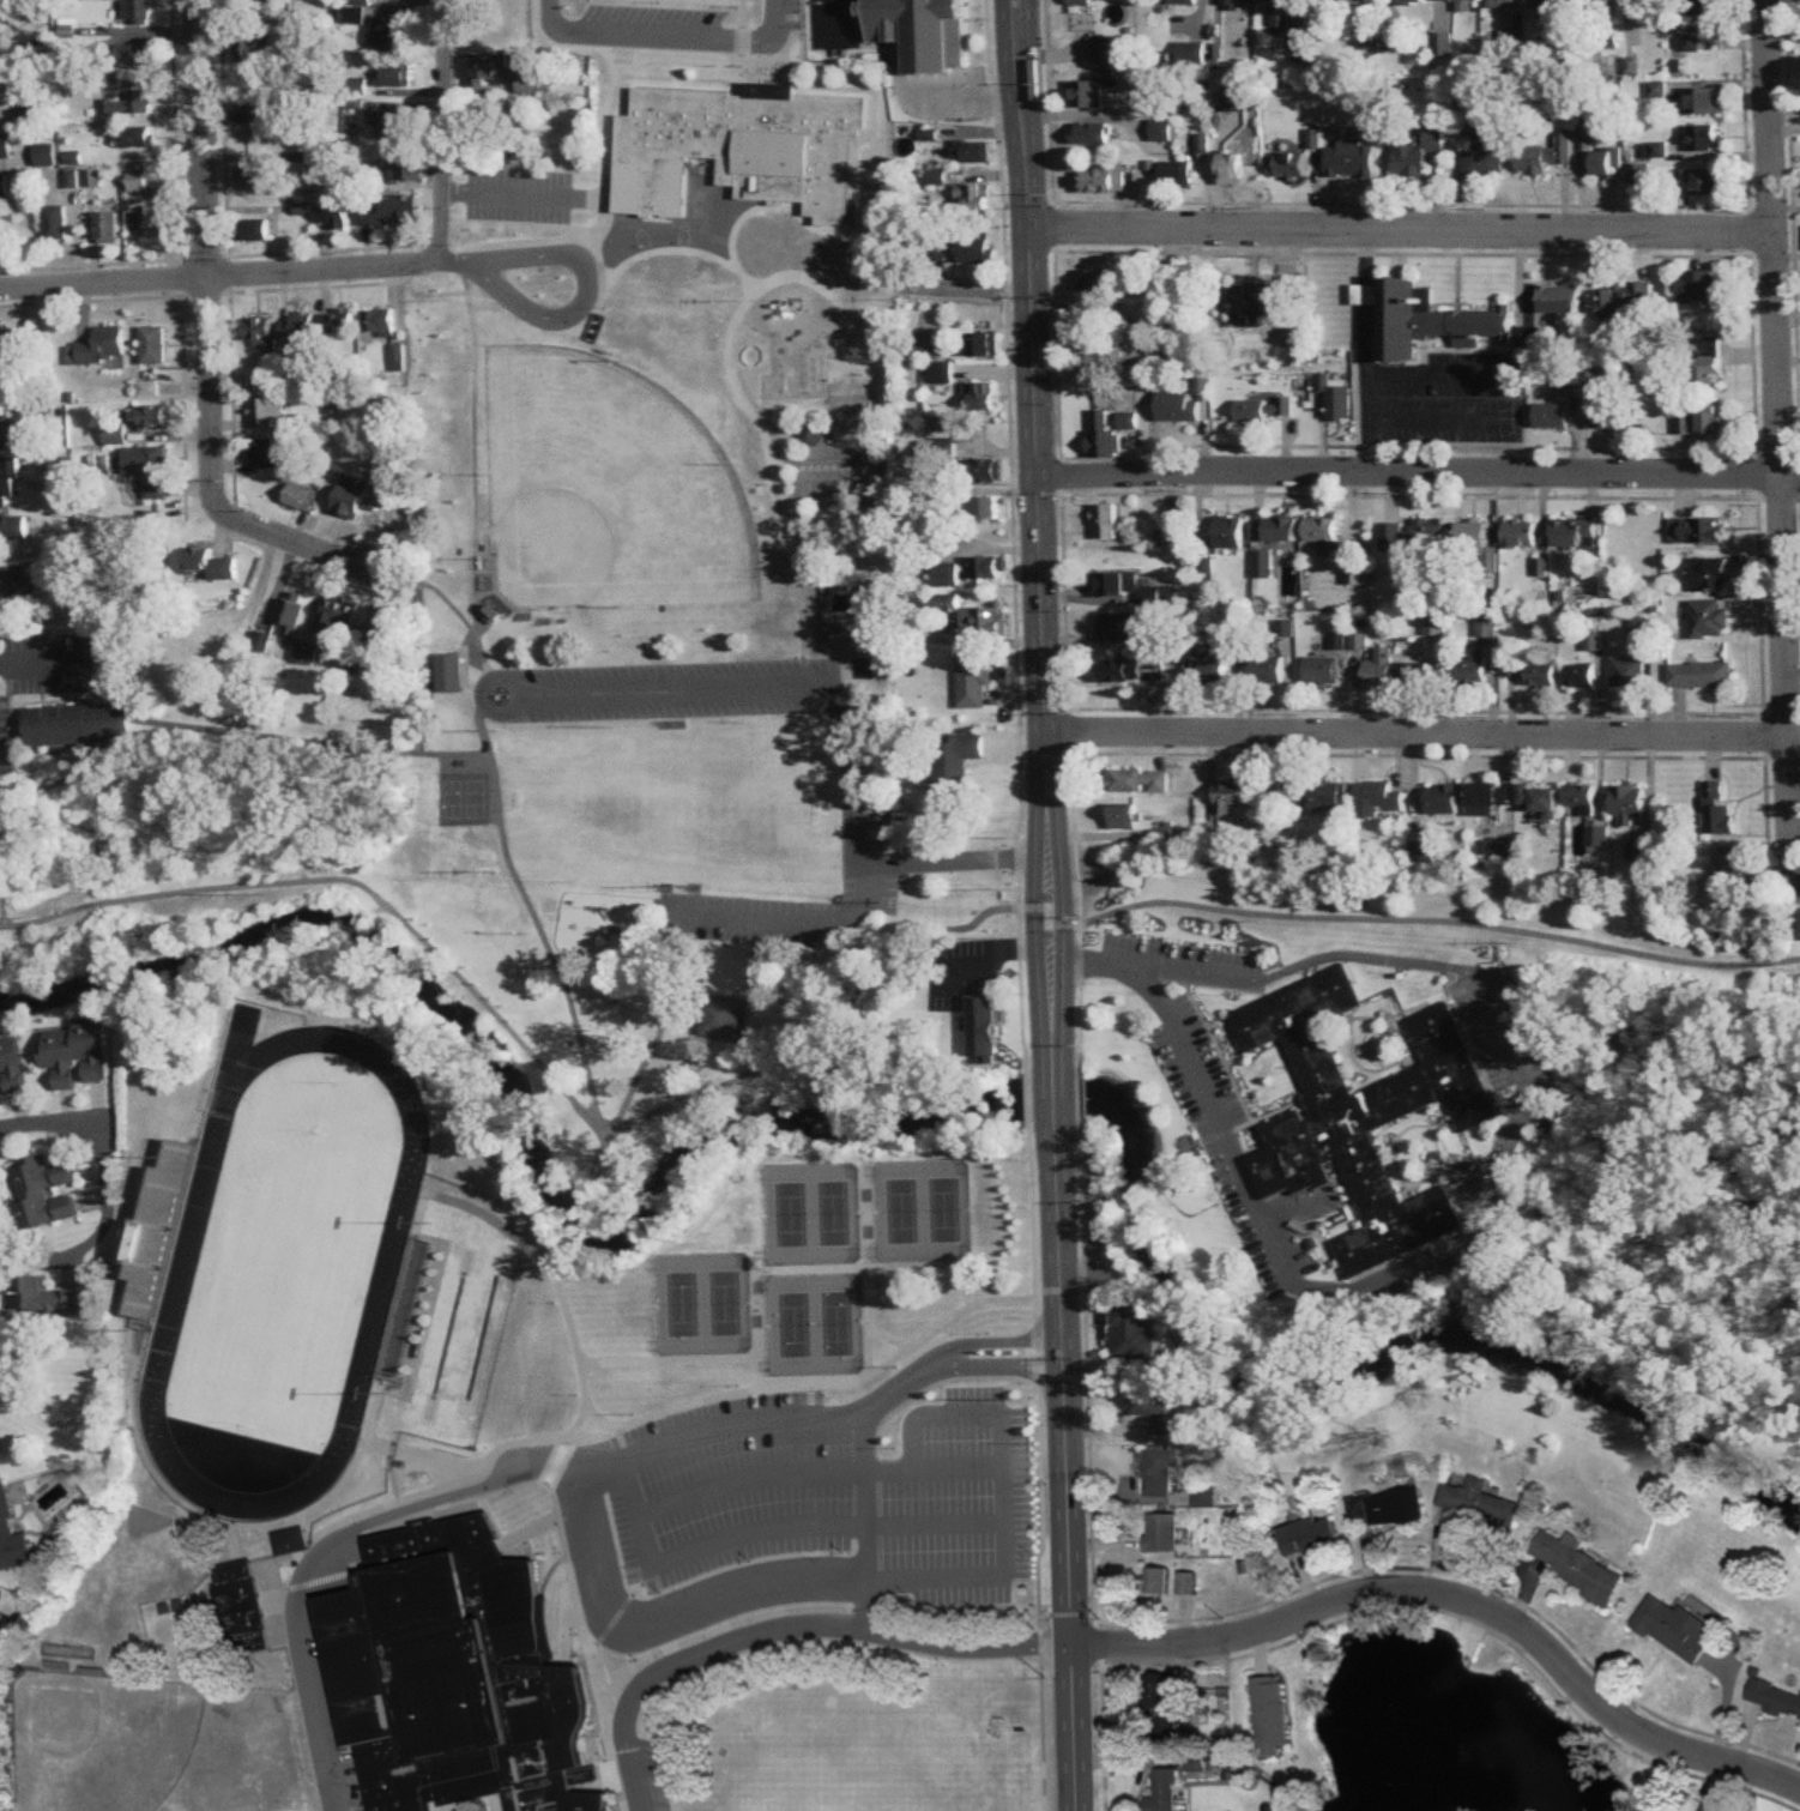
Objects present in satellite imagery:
building: (1458, 0)
building: (1083, 1)
building: (1185, 1)
building: (1593, 1)
building: (250, 2)
building: (1360, 2)
building: (1413, 2)
building: (1505, 2)
building: (1547, 4)
building: (1650, 4)
building: (1236, 5)
building: (1701, 7)
building: (140, 13)
building: (1281, 13)
road: (834, 19)
building: (70, 29)
building: (919, 31)
building: (391, 32)
road: (663, 36)
building: (1690, 38)
building: (1305, 44)
building: (249, 50)
building: (1104, 50)
building: (71, 54)
building: (137, 58)
building: (490, 68)
building: (393, 77)
building: (528, 83)
building: (1087, 95)
road: (964, 97)
building: (1237, 99)
building: (1704, 101)
building: (132, 104)
building: (1165, 105)
building: (253, 113)
building: (35, 116)
building: (392, 121)
road: (442, 129)
building: (1162, 131)
building: (1091, 134)
building: (1701, 138)
building: (140, 140)
building: (1203, 144)
building: (6, 146)
building: (739, 149)
building: (1655, 150)
building: (1486, 151)
building: (972, 152)
building: (1418, 152)
building: (48, 155)
building: (1546, 155)
building: (1352, 159)
building: (1607, 163)
building: (1291, 164)
building: (407, 169)
building: (1233, 169)
building: (1178, 174)
building: (1638, 174)
building: (258, 177)
building: (72, 179)
building: (95, 179)
building: (1103, 180)
building: (140, 181)
building: (1704, 182)
building: (5, 187)
building: (973, 198)
building: (387, 211)
building: (333, 213)
building: (56, 223)
building: (149, 224)
building: (110, 228)
road: (1399, 228)
building: (256, 230)
road: (724, 231)
building: (0, 243)
road: (81, 243)
road: (95, 243)
building: (973, 252)
road: (1366, 255)
road: (436, 262)
road: (216, 277)
building: (1099, 282)
road: (937, 288)
building: (1703, 288)
road: (1366, 294)
road: (582, 295)
building: (1558, 301)
road: (1520, 302)
building: (1626, 302)
building: (1258, 303)
building: (1426, 321)
building: (339, 322)
building: (377, 324)
building: (259, 331)
building: (296, 331)
building: (928, 345)
building: (153, 346)
building: (983, 346)
building: (99, 349)
road: (206, 352)
building: (397, 358)
building: (1173, 358)
building: (2, 360)
building: (1103, 361)
building: (941, 374)
building: (1708, 376)
road: (1366, 388)
road: (1515, 396)
building: (980, 397)
road: (1028, 398)
building: (1336, 400)
building: (1176, 408)
building: (1263, 410)
building: (264, 413)
building: (1607, 415)
building: (1552, 417)
building: (150, 418)
park: (853, 419)
building: (1701, 421)
building: (11, 435)
building: (115, 435)
building: (809, 435)
road: (1781, 442)
building: (1104, 445)
building: (264, 454)
building: (386, 466)
building: (149, 470)
building: (985, 472)
road: (1415, 472)
building: (10, 478)
road: (471, 481)
park: (838, 482)
park: (608, 489)
building: (349, 496)
building: (300, 497)
building: (986, 509)
building: (1107, 523)
road: (778, 526)
building: (13, 529)
building: (1281, 531)
building: (1704, 531)
building: (1227, 532)
building: (1576, 533)
building: (1521, 535)
building: (1324, 537)
building: (1428, 537)
building: (1480, 545)
building: (1262, 565)
building: (209, 567)
building: (989, 568)
building: (944, 575)
building: (1710, 575)
building: (1117, 586)
building: (17, 588)
road: (442, 600)
building: (946, 608)
building: (339, 612)
building: (292, 615)
building: (1709, 621)
building: (984, 622)
building: (1485, 627)
building: (1117, 628)
building: (389, 630)
building: (862, 632)
building: (174, 646)
building: (307, 653)
road: (46, 664)
parking lot: (49, 665)
building: (1473, 666)
building: (1378, 669)
building: (1321, 671)
building: (1266, 672)
building: (1533, 672)
building: (446, 674)
building: (1215, 674)
building: (1629, 674)
road: (461, 675)
building: (1417, 675)
building: (1581, 676)
building: (1701, 676)
building: (181, 677)
building: (973, 681)
road: (42, 683)
road: (62, 683)
parking lot: (656, 692)
road: (49, 702)
road: (839, 704)
park: (556, 706)
building: (79, 726)
road: (14, 732)
road: (1415, 736)
road: (309, 744)
parking lot: (6, 751)
building: (955, 762)
road: (83, 767)
building: (1138, 781)
building: (1315, 796)
building: (1228, 797)
building: (1488, 798)
building: (1581, 798)
park: (460, 799)
building: (1373, 799)
building: (1442, 799)
building: (1540, 802)
building: (1627, 803)
park: (670, 807)
building: (1717, 811)
building: (1128, 819)
road: (883, 831)
building: (1596, 837)
road: (870, 843)
road: (870, 844)
building: (1729, 864)
parking lot: (871, 889)
park: (1446, 913)
road: (0, 914)
road: (531, 914)
road: (1047, 916)
road: (1061, 919)
parking lot: (755, 920)
road: (1032, 920)
road: (1439, 922)
road: (799, 925)
road: (990, 950)
road: (1149, 966)
building: (719, 1019)
building: (983, 1027)
road: (657, 1033)
road: (1505, 1051)
building: (72, 1055)
road: (1051, 1055)
road: (528, 1060)
building: (11, 1066)
road: (1204, 1088)
road: (1052, 1099)
river: (906, 1117)
building: (1365, 1117)
road: (101, 1134)
road: (600, 1153)
building: (41, 1194)
road: (578, 1208)
building: (156, 1233)
track: (386, 1268)
building: (41, 1299)
park: (460, 1299)
park: (499, 1306)
building: (1132, 1333)
building: (981, 1359)
road: (930, 1362)
road: (581, 1380)
park: (436, 1394)
park: (476, 1407)
building: (1154, 1409)
road: (769, 1419)
building: (993, 1451)
road: (931, 1465)
road: (887, 1467)
road: (1067, 1471)
building: (1160, 1471)
road: (745, 1480)
building: (1478, 1502)
parking lot: (732, 1503)
building: (1395, 1507)
building: (997, 1519)
road: (862, 1521)
road: (935, 1525)
road: (1007, 1529)
building: (1162, 1532)
building: (1307, 1534)
building: (11, 1535)
building: (288, 1539)
road: (703, 1540)
road: (330, 1541)
building: (1575, 1563)
building: (1156, 1580)
building: (1185, 1582)
road: (1458, 1601)
road: (665, 1604)
building: (241, 1607)
building: (1673, 1625)
road: (785, 1628)
building: (446, 1676)
building: (1774, 1697)
building: (1160, 1703)
building: (1270, 1714)
park: (101, 1739)
building: (1162, 1791)
building: (1709, 1806)

